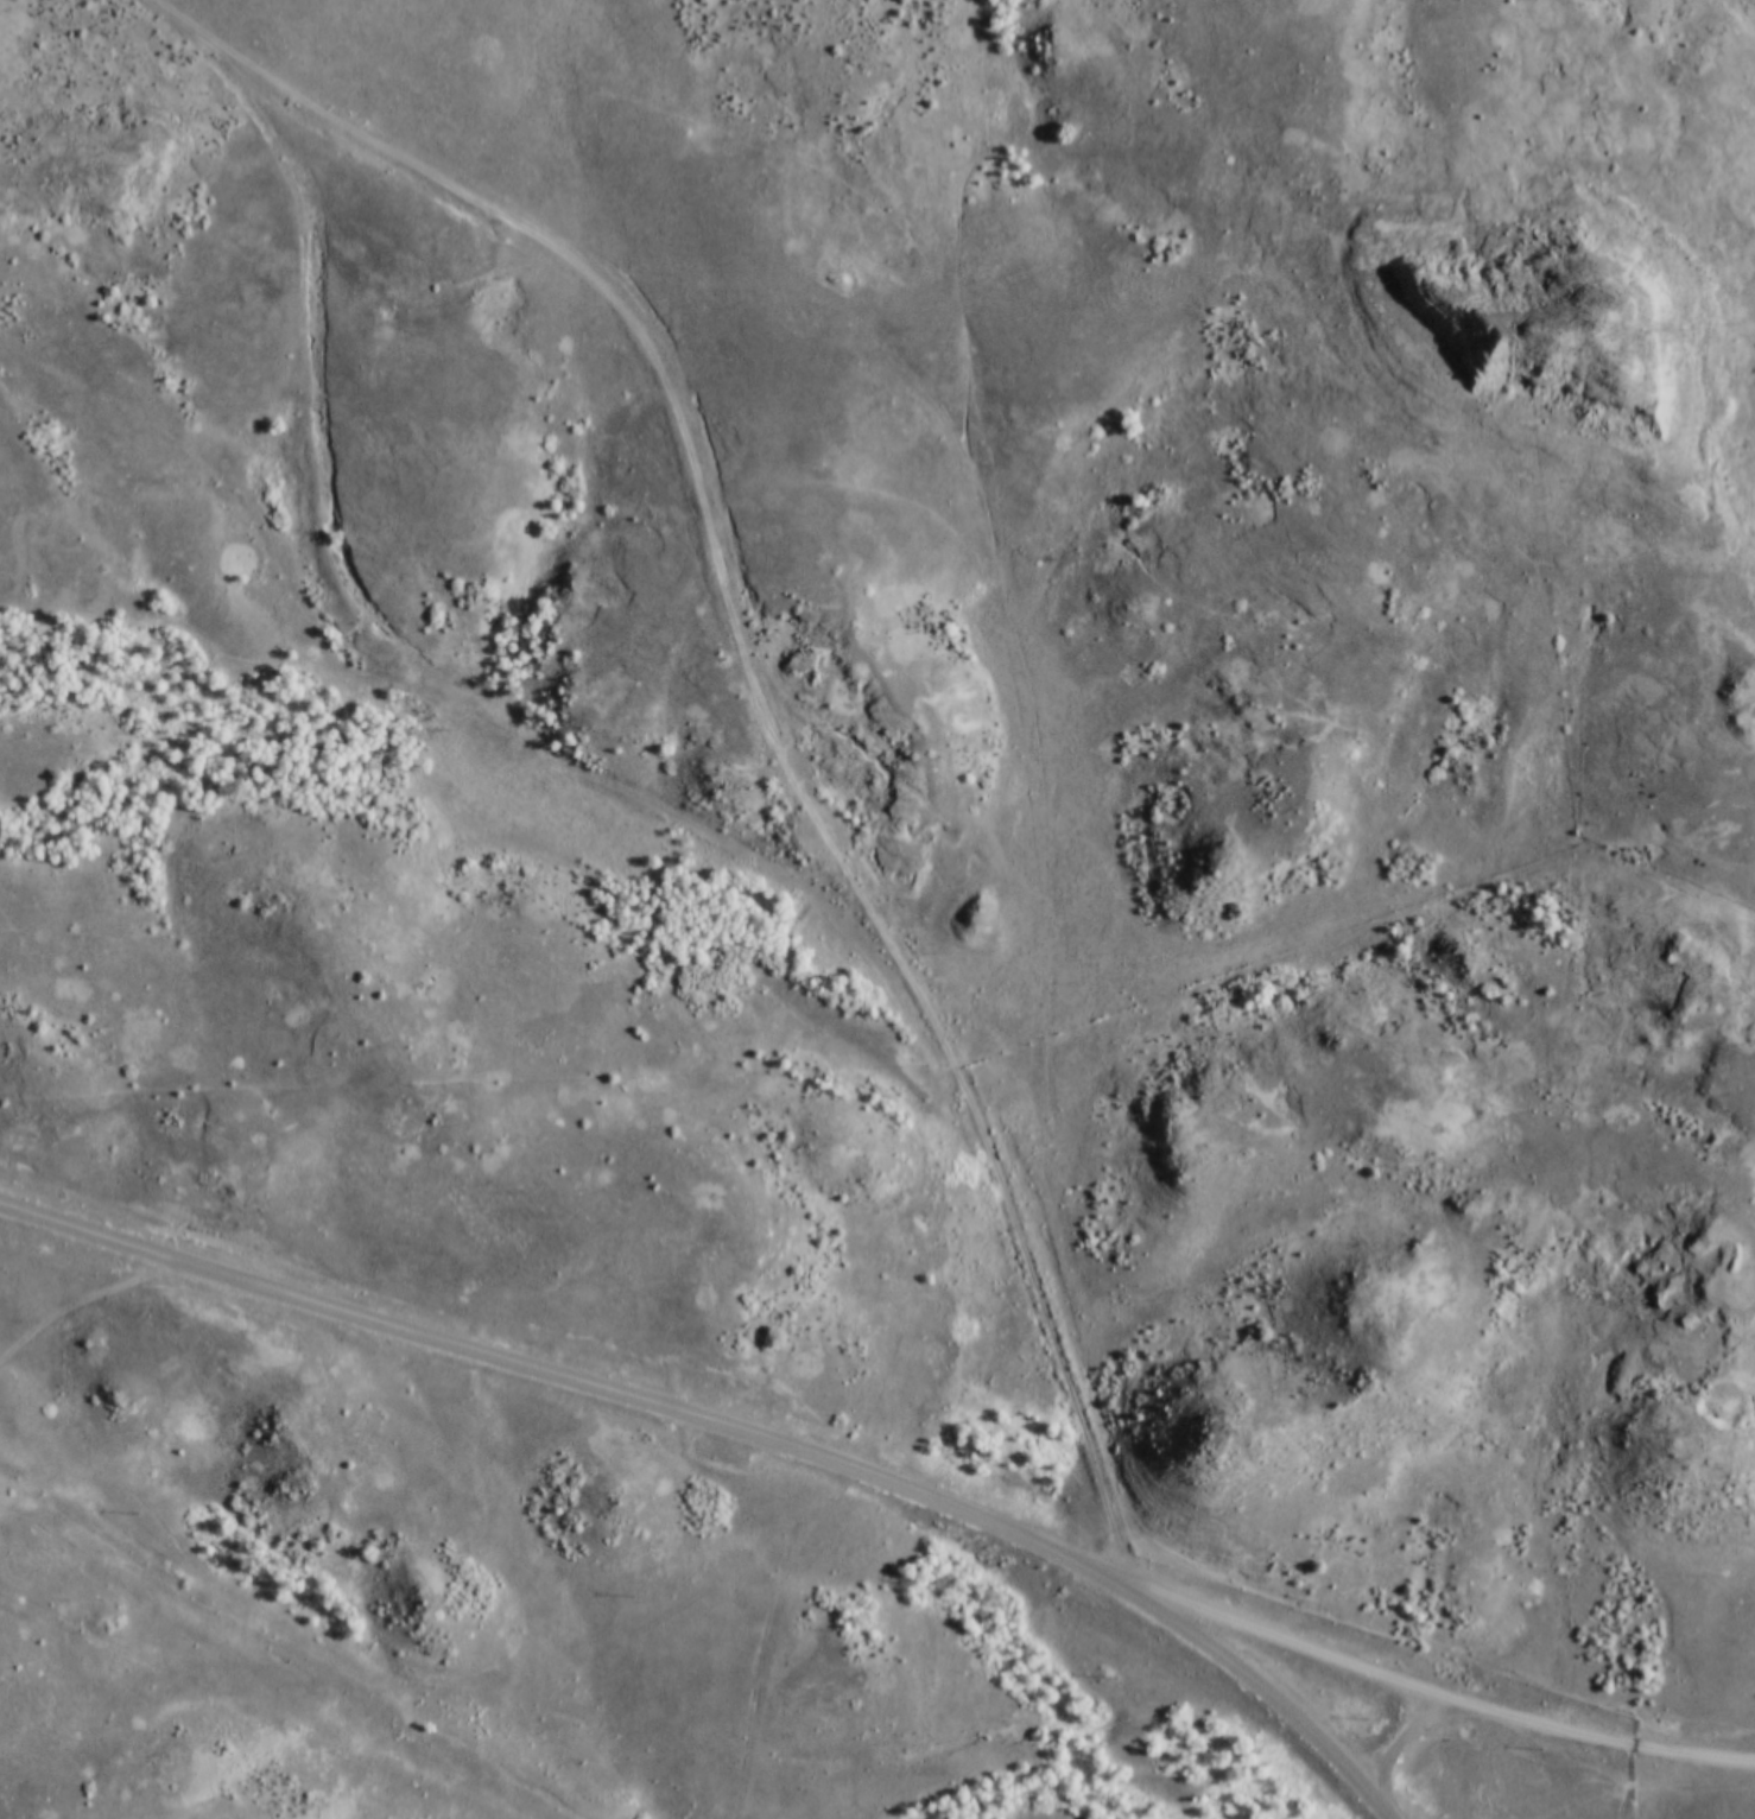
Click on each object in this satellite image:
road: (760, 693)
road: (77, 1304)
road: (740, 1426)
road: (1436, 1692)
road: (1406, 1735)

